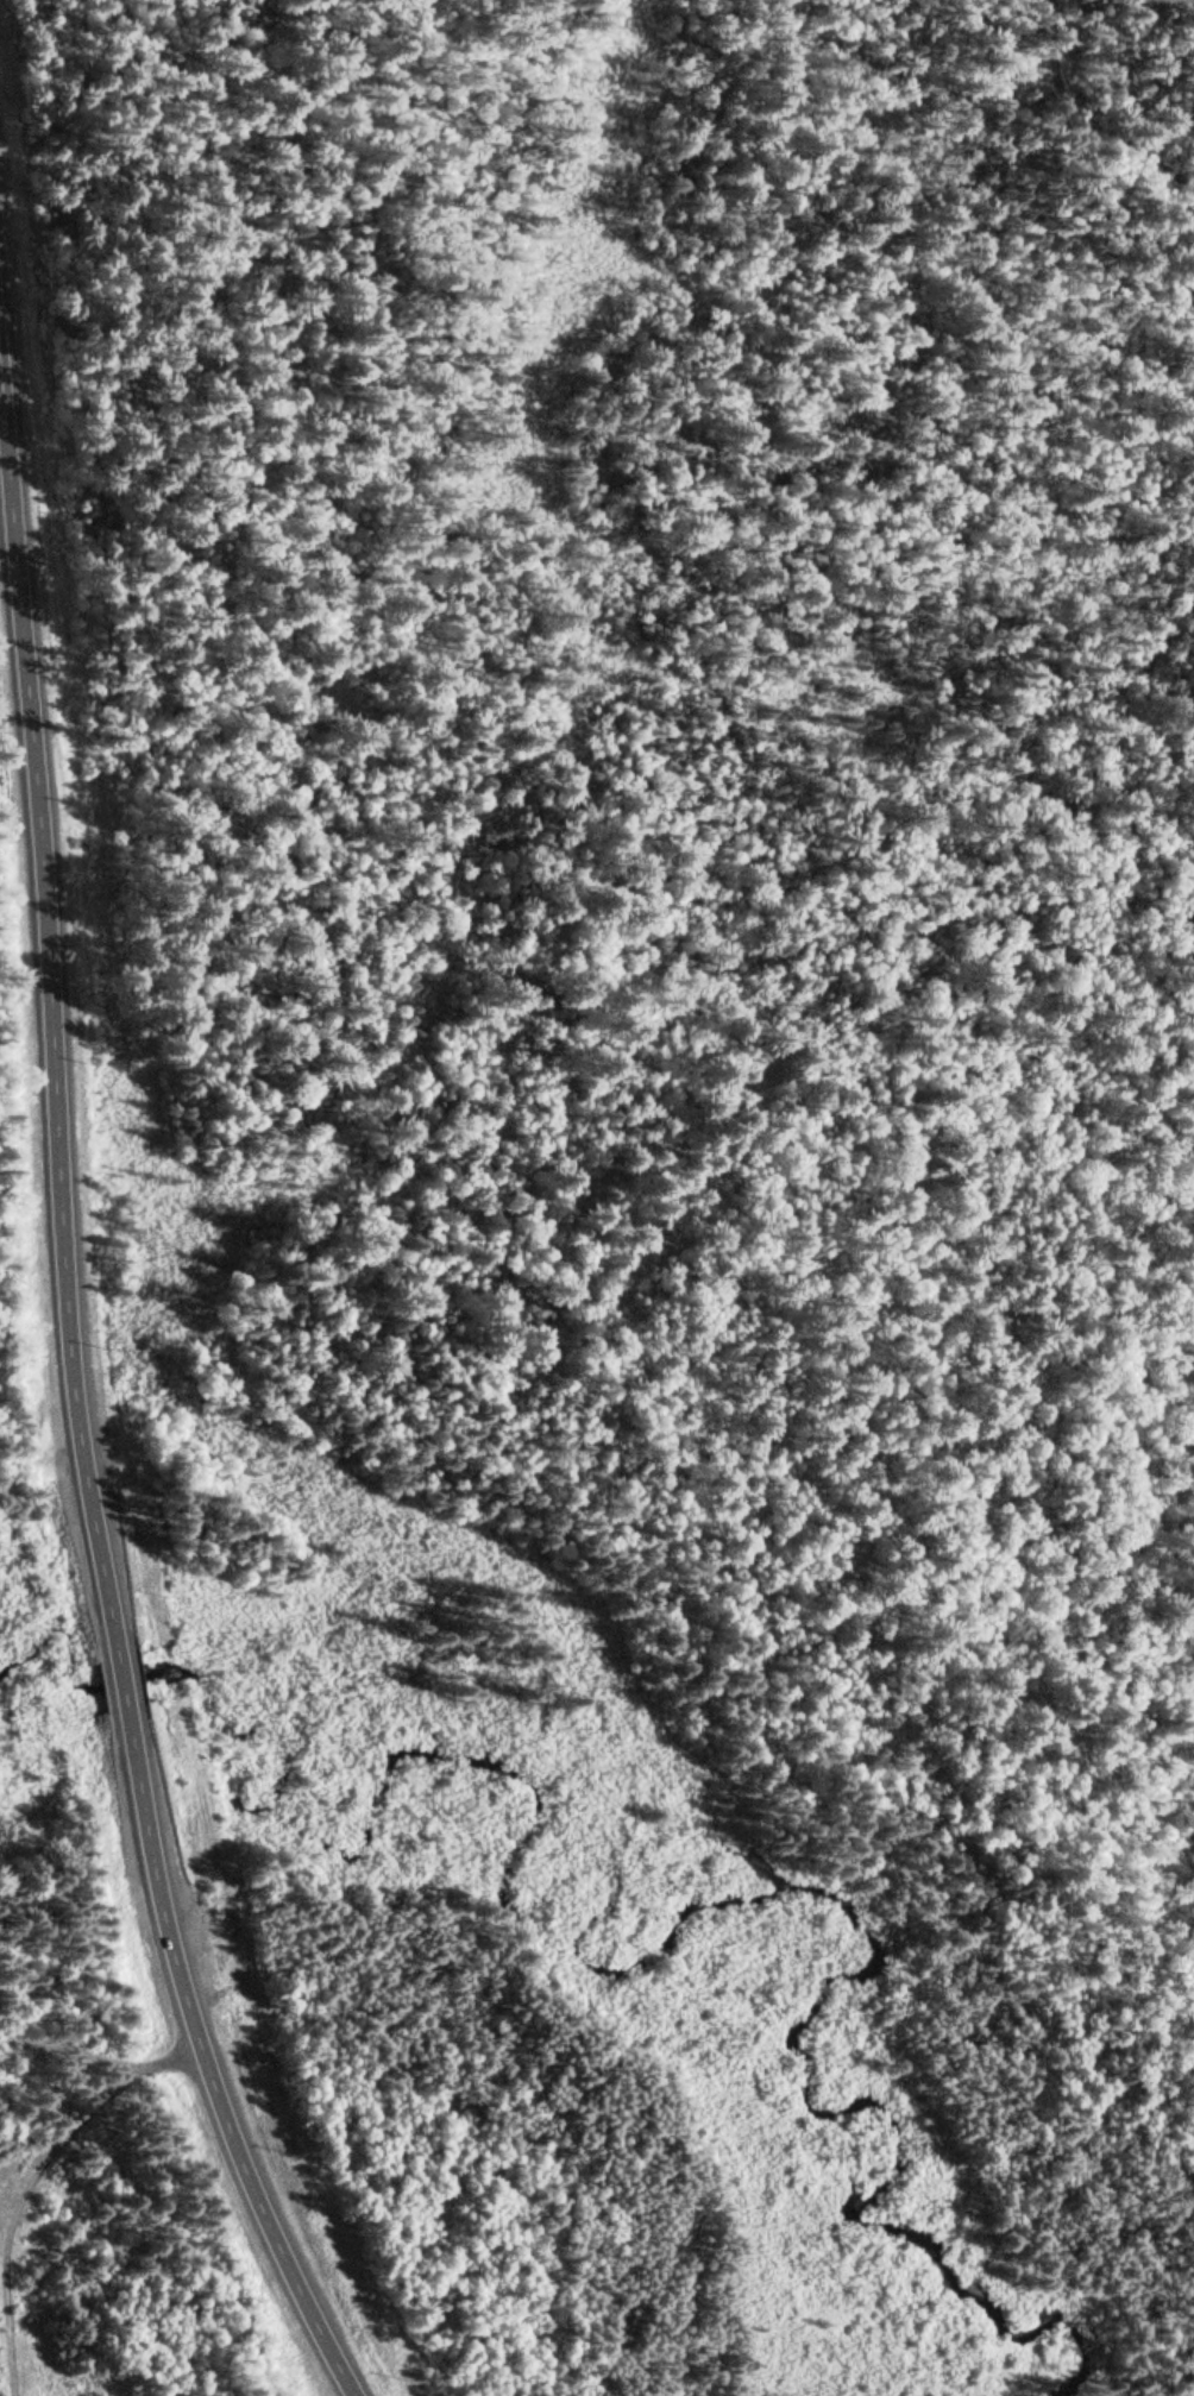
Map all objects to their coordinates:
road: (75, 1371)
road: (107, 2051)
road: (6, 2312)

